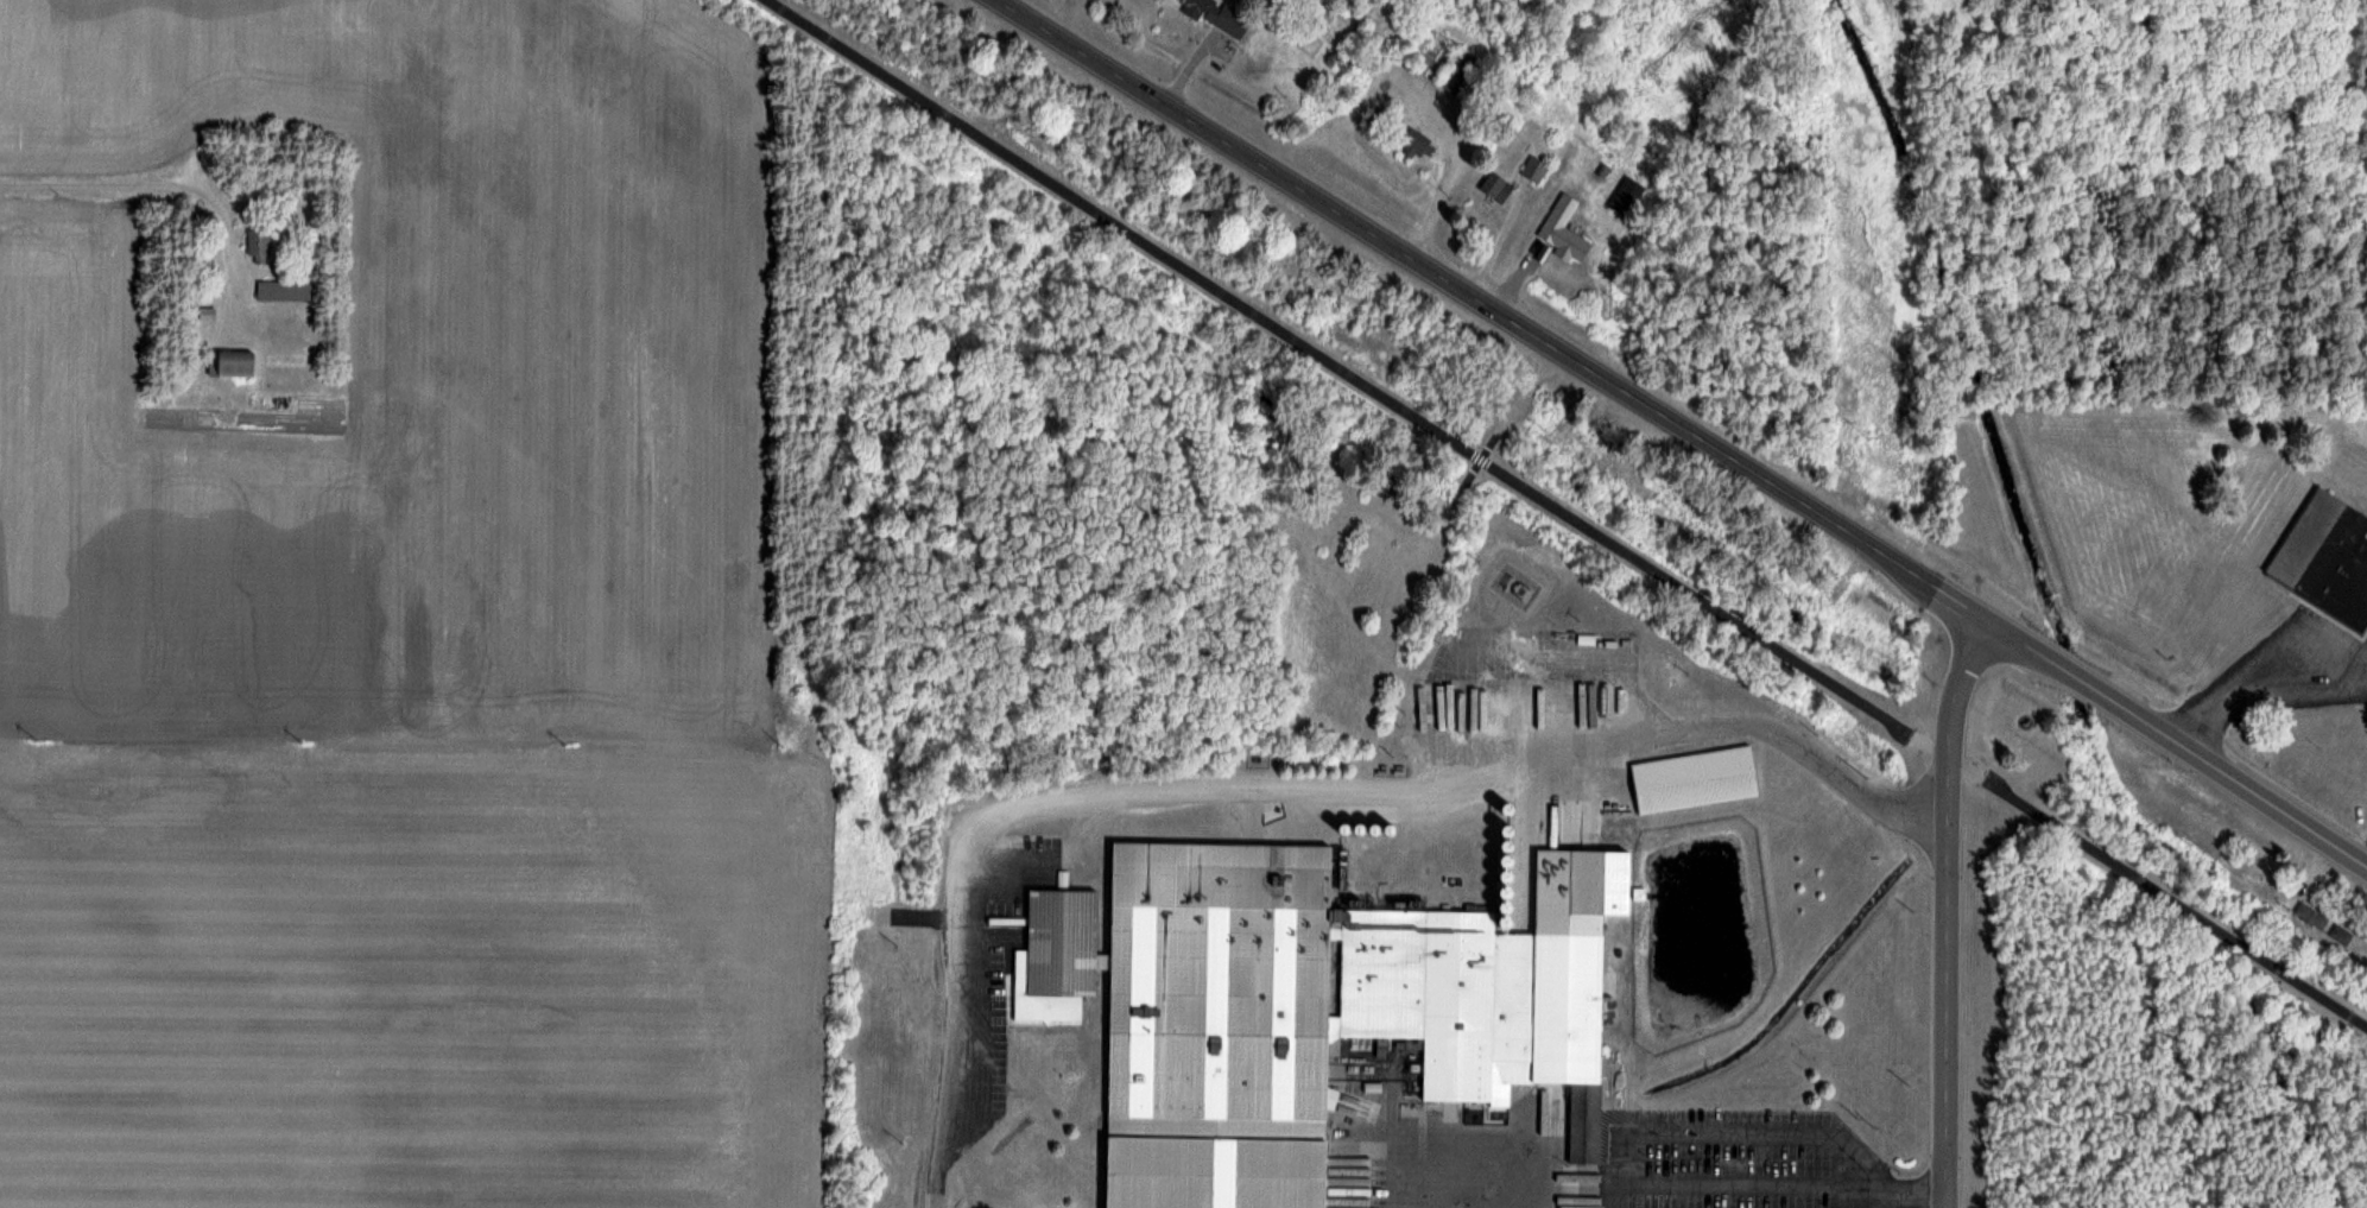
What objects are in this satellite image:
building: (1215, 14)
building: (1443, 62)
building: (1414, 141)
road: (159, 186)
building: (1559, 232)
building: (258, 246)
building: (283, 291)
road: (1492, 310)
building: (233, 365)
road: (1568, 513)
building: (2325, 558)
power substation: (1515, 586)
road: (2264, 681)
road: (2177, 742)
road: (1949, 748)
building: (1691, 780)
road: (1278, 786)
building: (2311, 916)
building: (2341, 934)
building: (1055, 956)
building: (1319, 1013)
road: (1950, 1046)
road: (1901, 1191)

